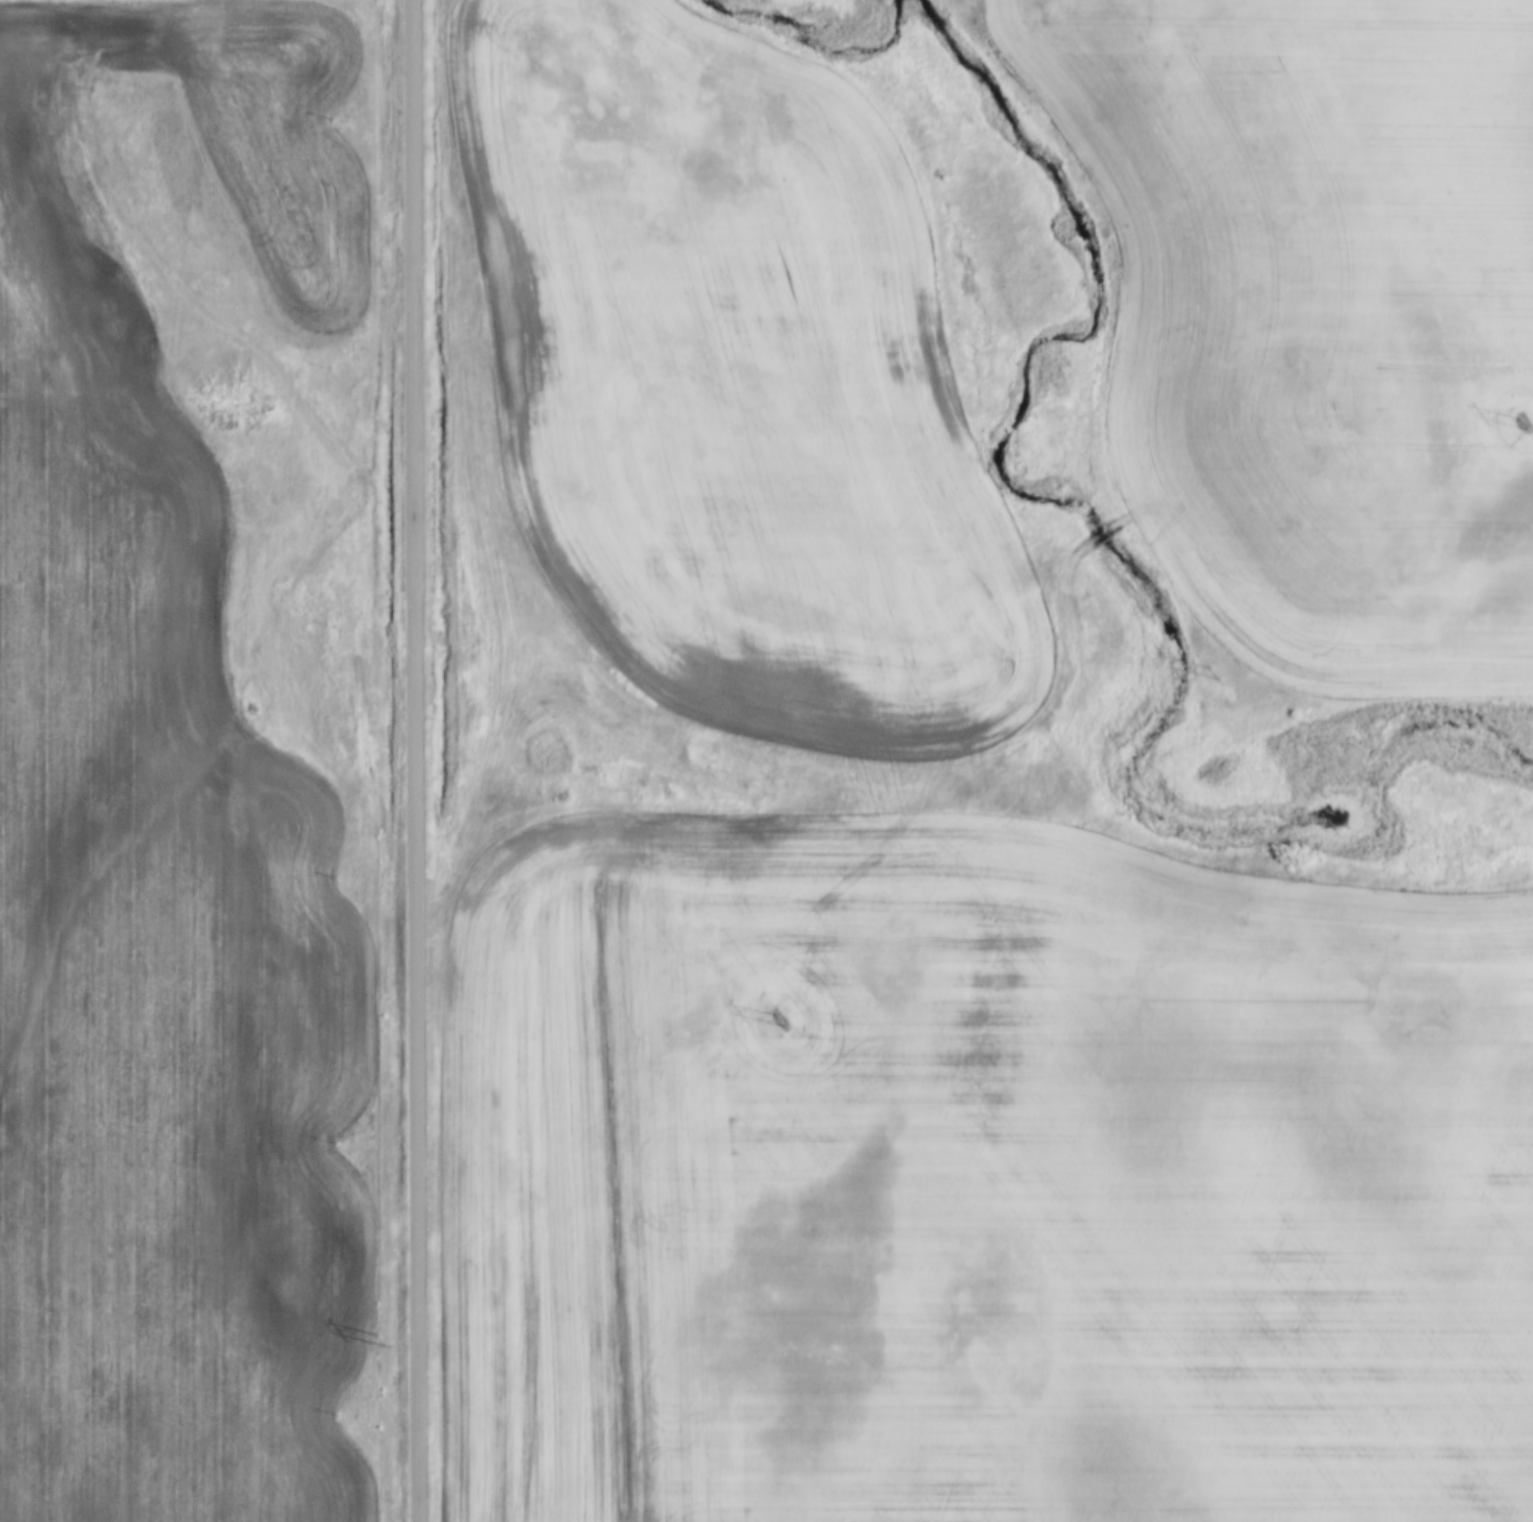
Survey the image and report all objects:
power tower: (1523, 425)
power tower: (1211, 675)
road: (413, 761)
power tower: (779, 1023)
power tower: (381, 1341)

